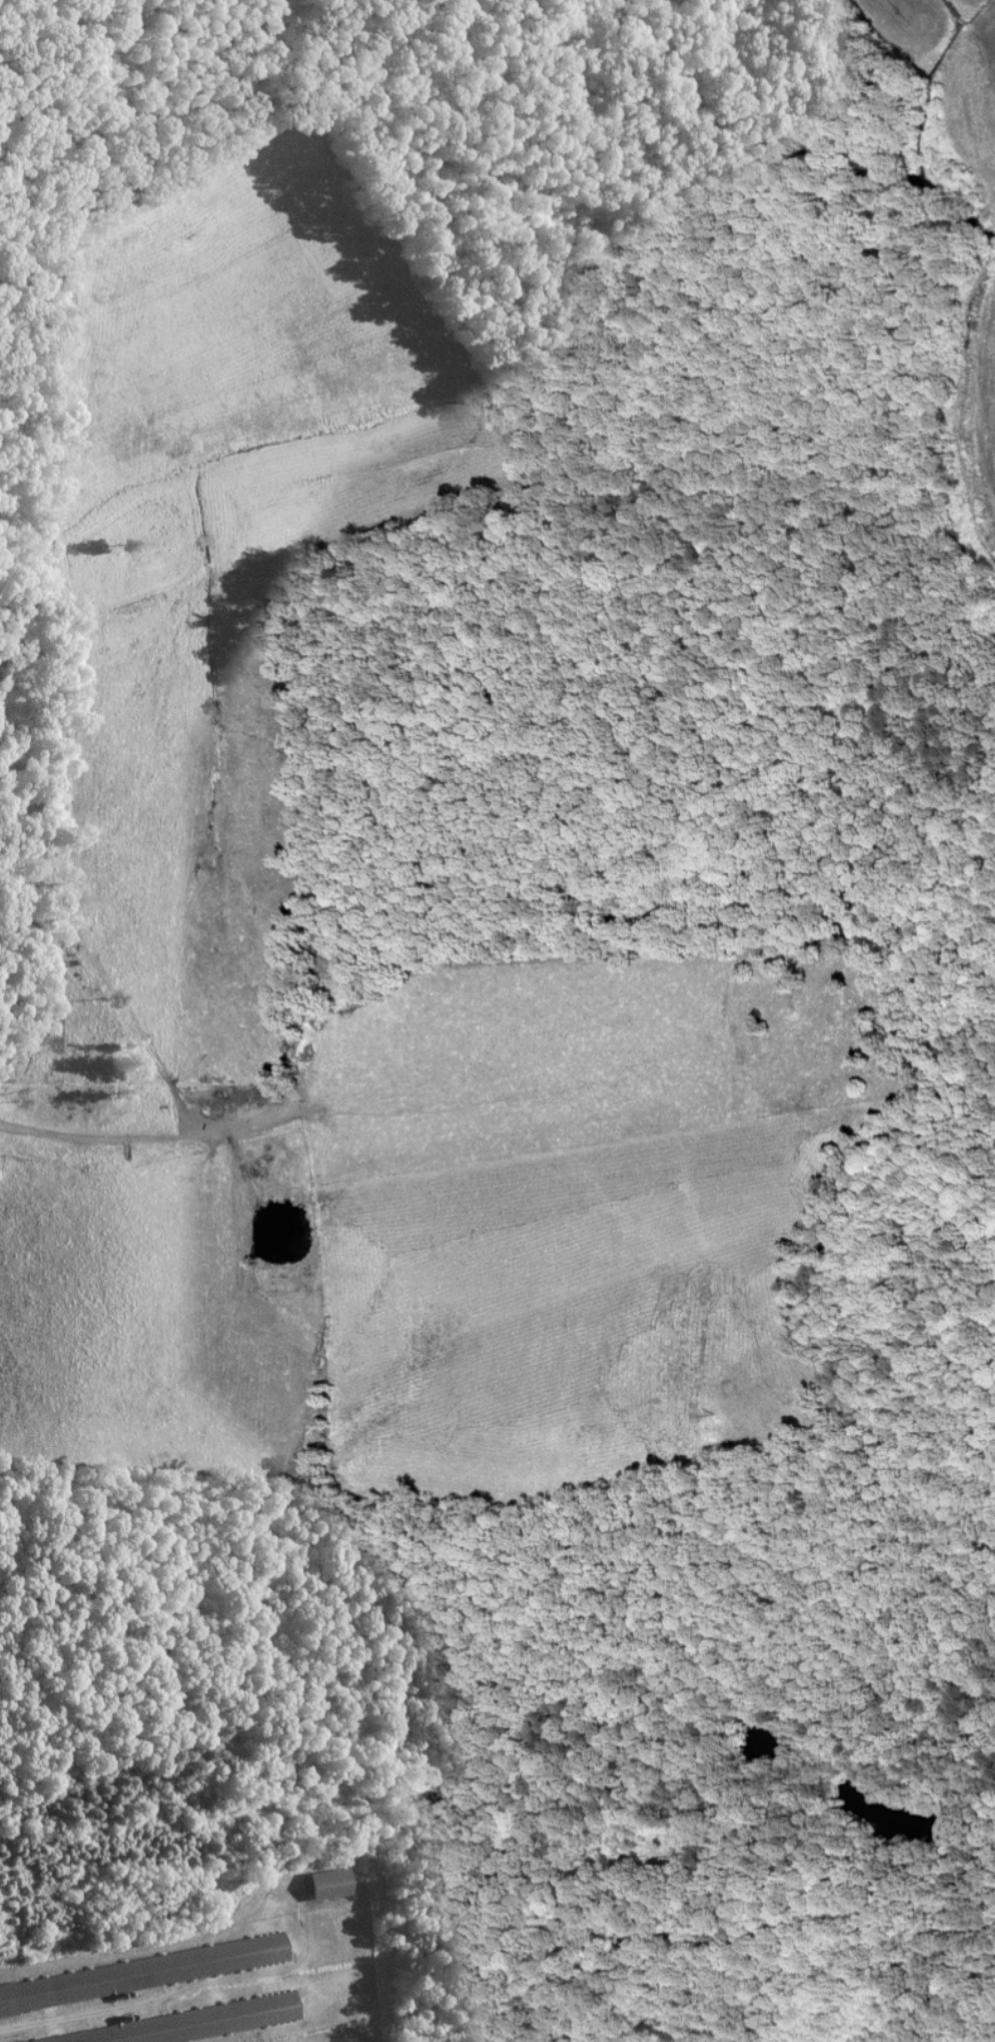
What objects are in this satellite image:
building: (327, 1883)
building: (136, 1974)
building: (195, 2023)

